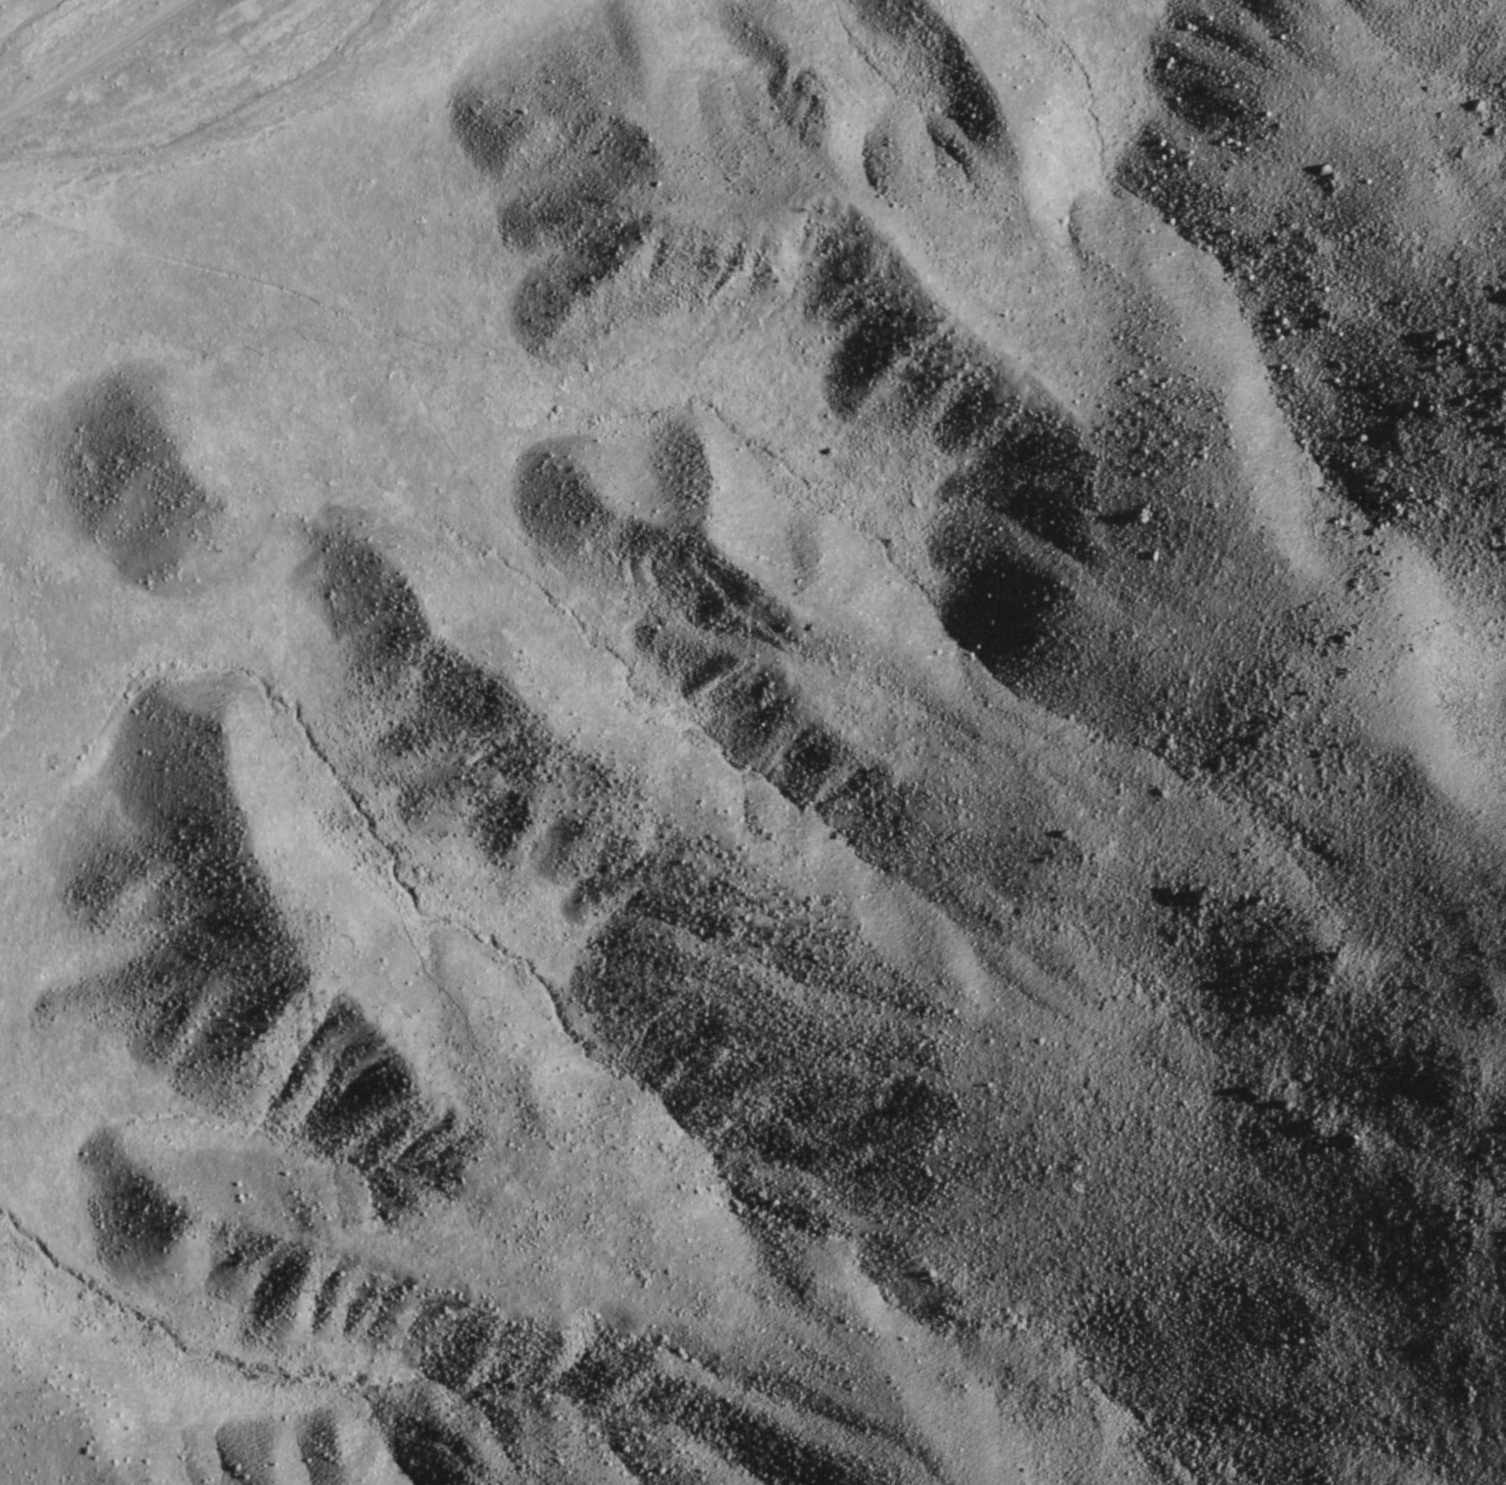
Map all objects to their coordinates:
road: (203, 124)
crop: (361, 455)
crop: (110, 1304)

